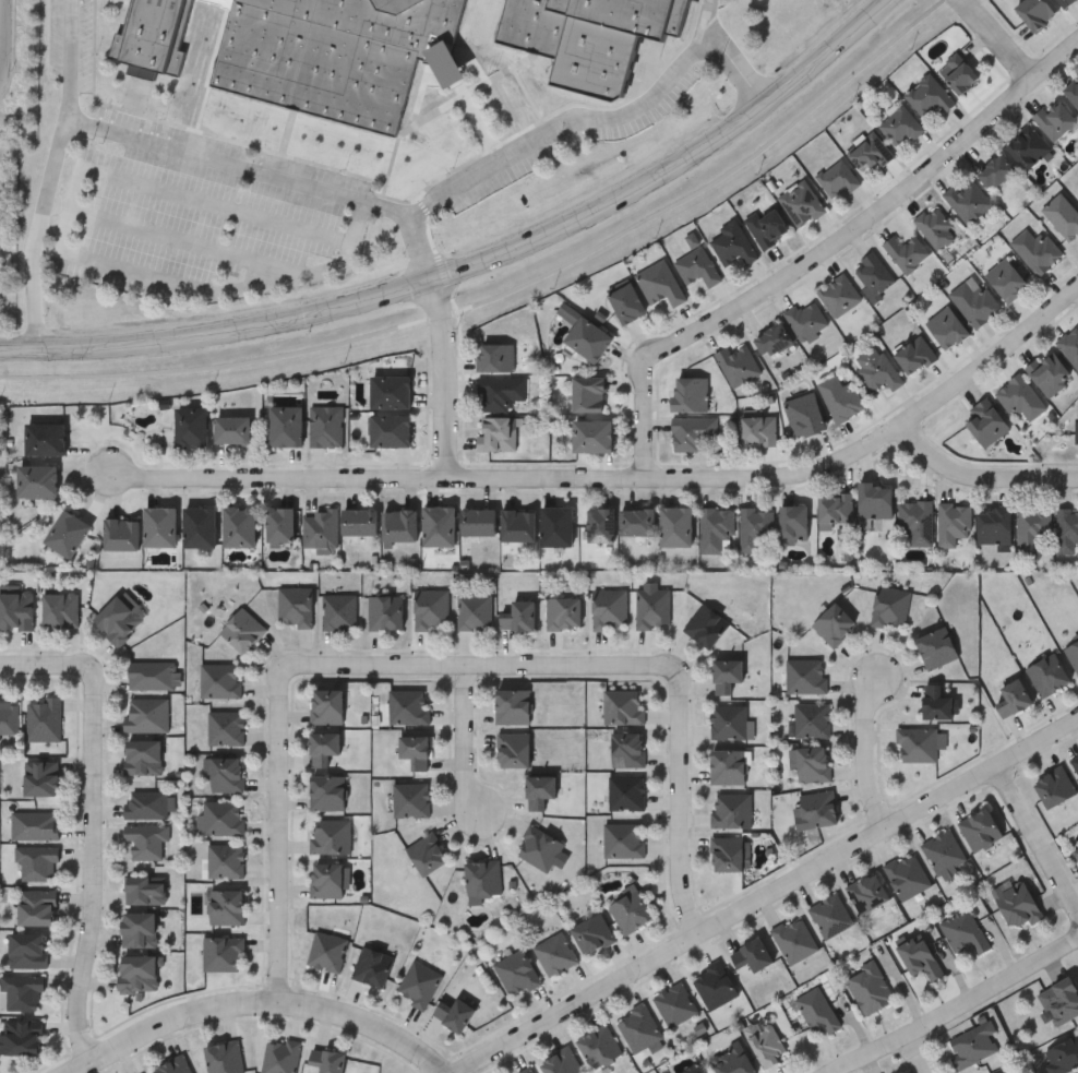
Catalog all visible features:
building: (1064, 2)
building: (1035, 11)
building: (153, 35)
building: (589, 37)
road: (12, 40)
road: (1003, 41)
building: (335, 52)
road: (738, 70)
building: (957, 71)
road: (1, 83)
building: (1073, 88)
building: (929, 93)
building: (1054, 117)
road: (584, 124)
building: (900, 124)
building: (1027, 145)
building: (870, 150)
building: (995, 170)
road: (56, 175)
building: (837, 177)
road: (273, 178)
building: (968, 199)
building: (801, 201)
building: (1064, 215)
building: (767, 224)
building: (935, 226)
road: (180, 239)
building: (732, 242)
road: (63, 245)
building: (1035, 249)
building: (906, 251)
road: (830, 259)
road: (480, 264)
building: (697, 265)
building: (873, 274)
building: (1006, 278)
building: (659, 282)
building: (838, 294)
building: (974, 300)
building: (626, 302)
building: (805, 317)
building: (946, 326)
building: (587, 337)
building: (774, 338)
building: (1070, 343)
building: (914, 353)
building: (495, 356)
building: (738, 362)
building: (876, 367)
building: (1049, 371)
road: (446, 382)
building: (391, 390)
building: (500, 391)
building: (587, 393)
building: (690, 393)
building: (840, 396)
building: (1019, 396)
building: (804, 413)
building: (986, 421)
building: (285, 424)
building: (326, 424)
building: (191, 425)
building: (231, 427)
building: (391, 428)
building: (758, 429)
building: (1077, 429)
building: (693, 431)
building: (499, 432)
building: (591, 434)
building: (44, 437)
building: (37, 478)
road: (790, 479)
road: (985, 480)
road: (283, 482)
building: (874, 502)
building: (834, 510)
building: (917, 520)
building: (359, 521)
building: (477, 521)
building: (636, 521)
building: (954, 522)
building: (279, 523)
building: (599, 523)
building: (792, 523)
building: (159, 524)
building: (239, 524)
building: (399, 524)
building: (439, 524)
building: (517, 524)
building: (994, 524)
building: (200, 525)
building: (555, 525)
building: (321, 526)
building: (675, 526)
building: (754, 526)
building: (715, 527)
building: (1032, 528)
building: (1067, 529)
building: (67, 530)
building: (121, 532)
building: (296, 605)
building: (60, 607)
building: (431, 607)
building: (652, 607)
building: (890, 607)
building: (16, 608)
building: (610, 608)
building: (339, 609)
building: (385, 610)
building: (475, 610)
building: (563, 612)
building: (517, 615)
building: (117, 618)
building: (834, 622)
building: (705, 624)
building: (242, 628)
building: (936, 647)
building: (1073, 652)
road: (45, 661)
road: (447, 664)
building: (154, 677)
building: (727, 678)
building: (806, 678)
building: (1050, 678)
building: (221, 682)
building: (1015, 702)
building: (937, 704)
building: (513, 706)
building: (624, 706)
building: (326, 707)
building: (409, 707)
building: (147, 714)
building: (9, 717)
building: (813, 719)
building: (45, 720)
building: (729, 722)
building: (226, 728)
road: (467, 739)
road: (1037, 741)
building: (918, 744)
building: (322, 748)
building: (513, 750)
building: (627, 750)
building: (414, 751)
road: (866, 751)
building: (143, 756)
building: (1075, 762)
building: (814, 764)
building: (728, 766)
building: (225, 773)
building: (40, 778)
building: (1055, 787)
building: (539, 791)
building: (327, 792)
building: (626, 792)
building: (410, 800)
building: (149, 803)
building: (818, 809)
building: (731, 810)
building: (224, 816)
building: (36, 824)
building: (981, 831)
building: (331, 835)
road: (1037, 835)
building: (146, 839)
building: (623, 839)
building: (538, 848)
building: (1076, 849)
building: (944, 851)
building: (426, 855)
building: (727, 855)
building: (226, 860)
building: (37, 861)
road: (92, 866)
building: (908, 875)
building: (328, 879)
building: (482, 881)
building: (145, 889)
building: (867, 892)
building: (1016, 903)
building: (226, 906)
building: (37, 907)
building: (630, 910)
road: (727, 915)
building: (830, 915)
building: (139, 929)
building: (963, 931)
building: (592, 932)
building: (794, 939)
building: (27, 950)
building: (327, 951)
building: (223, 952)
building: (555, 953)
building: (752, 954)
building: (919, 956)
building: (372, 966)
building: (139, 973)
building: (517, 973)
building: (419, 983)
building: (715, 986)
building: (869, 988)
building: (23, 991)
road: (257, 1000)
building: (1059, 1000)
building: (674, 1003)
road: (957, 1006)
building: (817, 1010)
building: (454, 1013)
building: (639, 1027)
building: (22, 1036)
building: (972, 1044)
building: (599, 1045)
building: (1062, 1054)
building: (280, 1056)
road: (909, 1056)
building: (225, 1057)
building: (327, 1060)
building: (731, 1060)
building: (561, 1062)
building: (173, 1065)
building: (692, 1070)
building: (529, 1071)
building: (1003, 1071)

